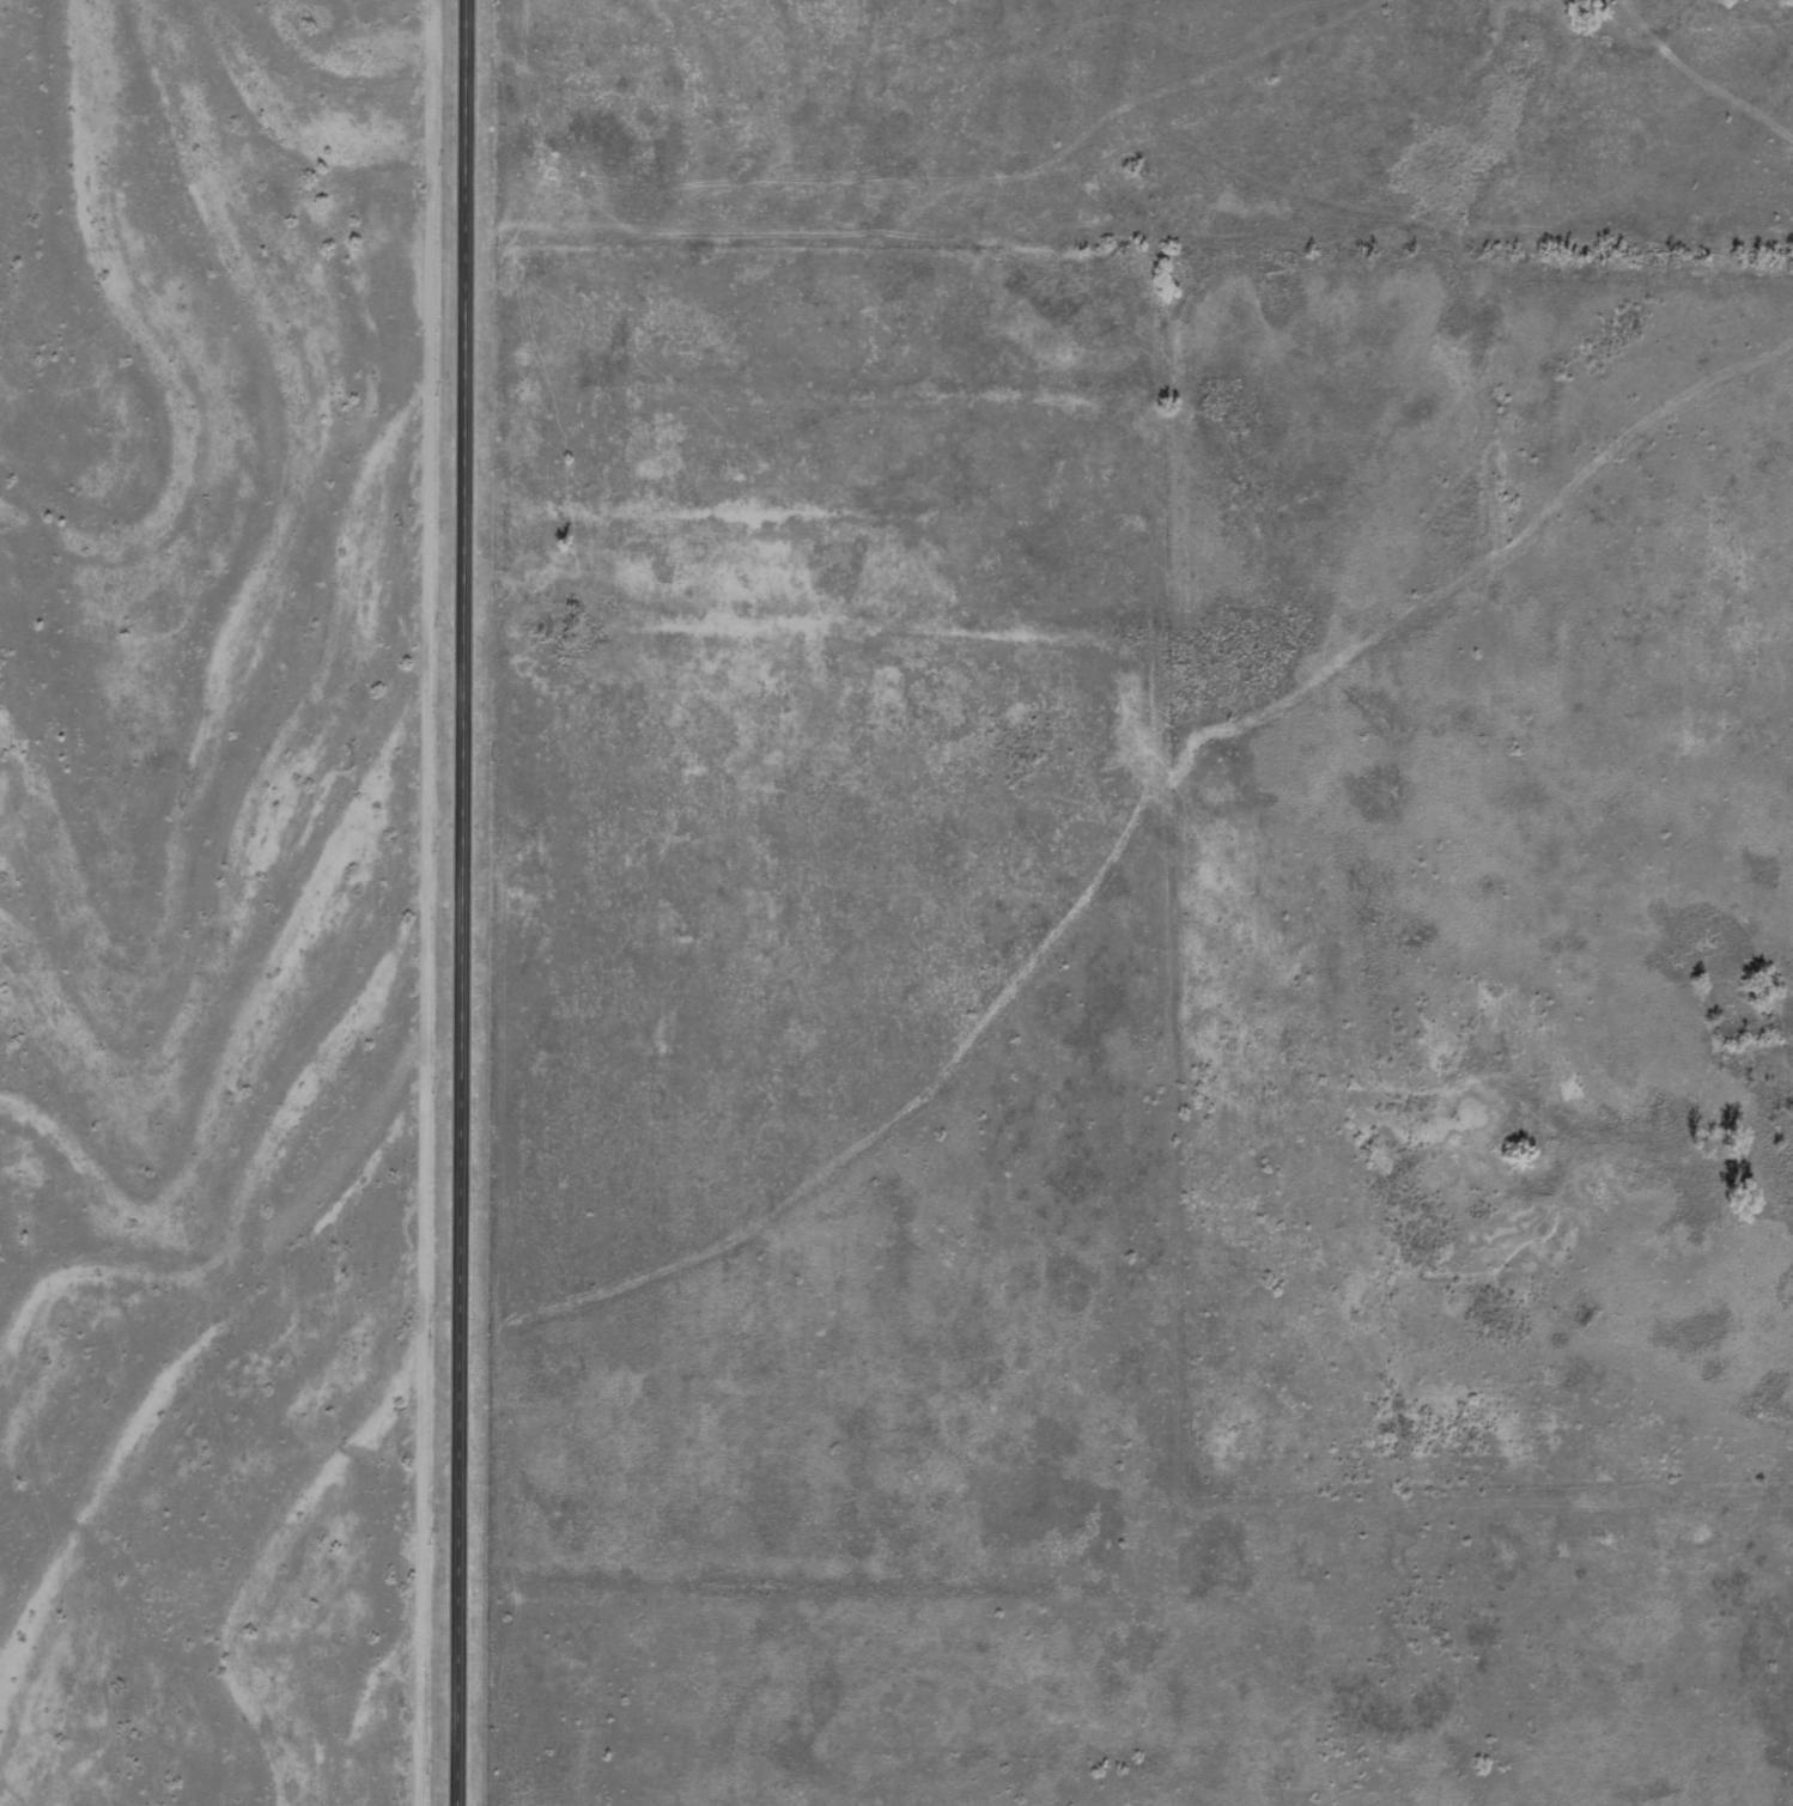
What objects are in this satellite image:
road: (466, 902)

